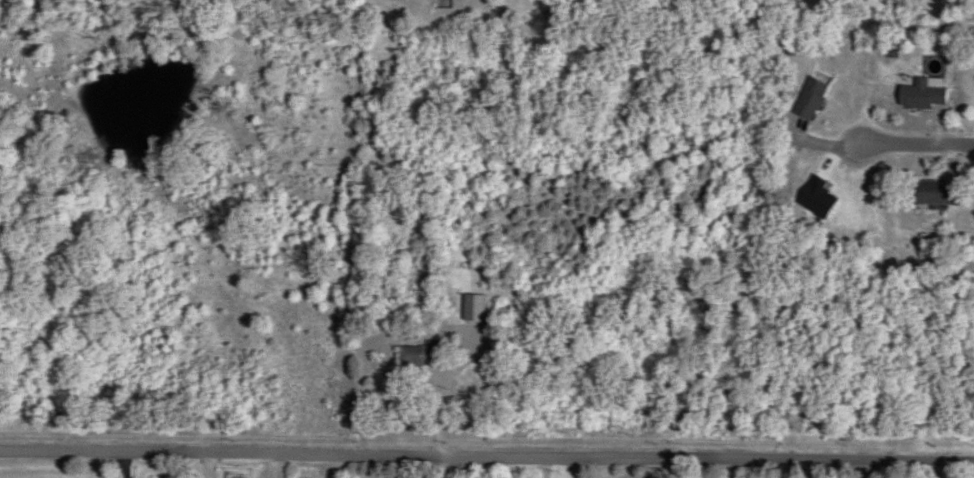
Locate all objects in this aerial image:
building: (440, 4)
road: (538, 10)
road: (892, 22)
building: (922, 93)
building: (809, 98)
road: (921, 149)
building: (932, 193)
building: (815, 197)
road: (351, 228)
building: (422, 353)
road: (487, 458)
road: (126, 464)
road: (650, 468)
road: (869, 469)

